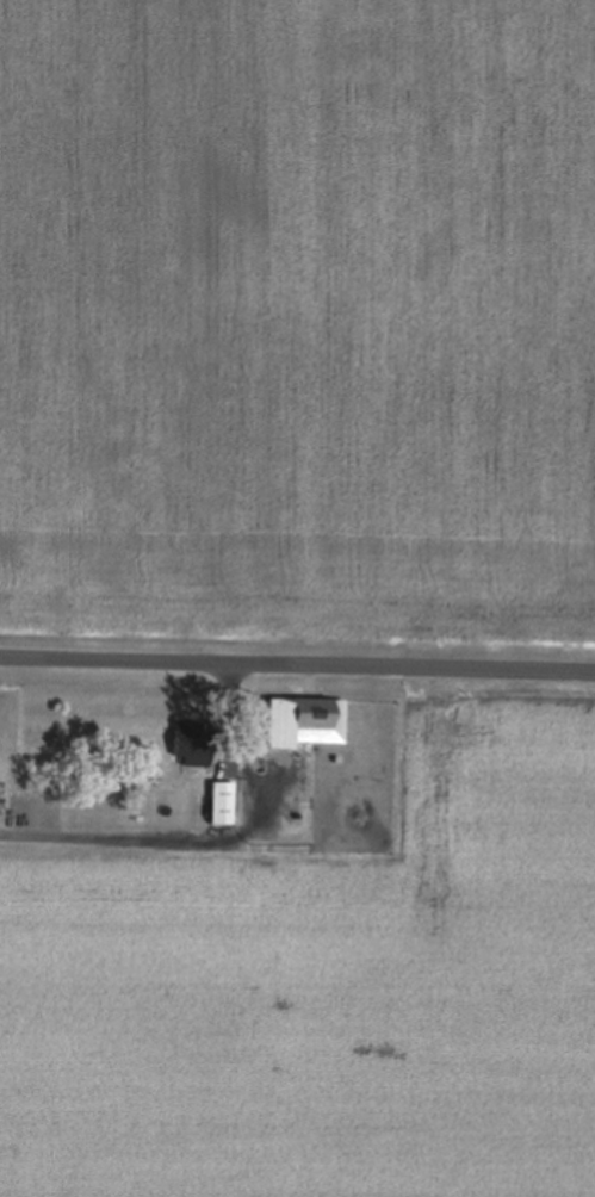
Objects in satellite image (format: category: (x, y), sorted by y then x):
road: (297, 659)
building: (304, 719)
building: (190, 743)
building: (221, 800)

